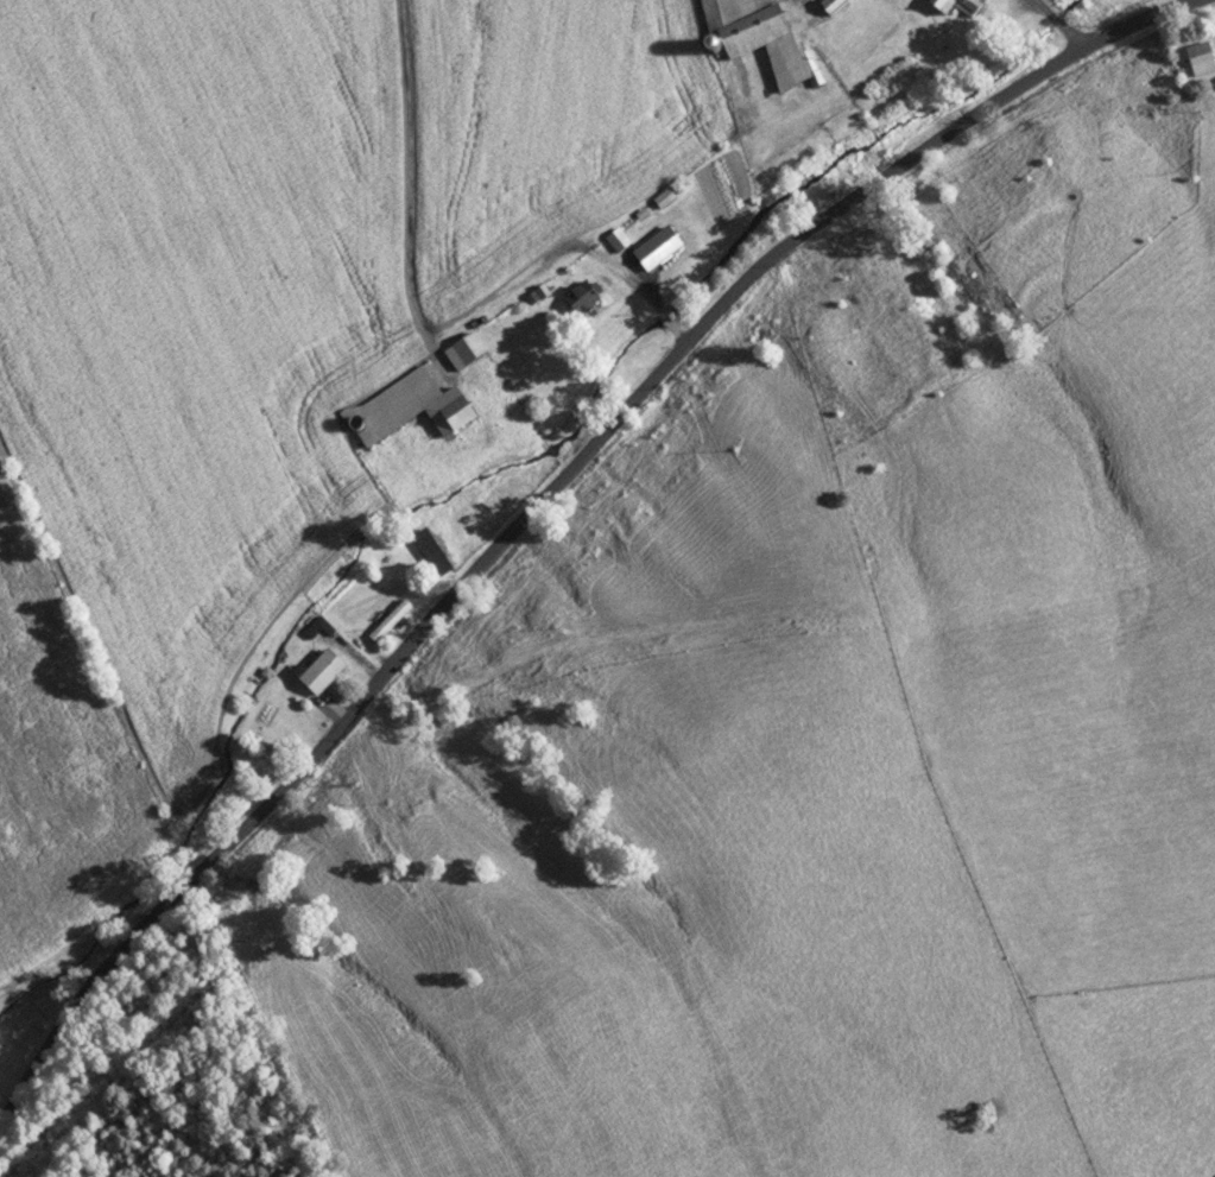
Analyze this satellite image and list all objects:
building: (833, 2)
building: (955, 6)
building: (757, 38)
building: (1200, 59)
building: (654, 249)
building: (473, 353)
building: (417, 409)
road: (540, 502)
building: (438, 552)
building: (395, 620)
building: (329, 671)

